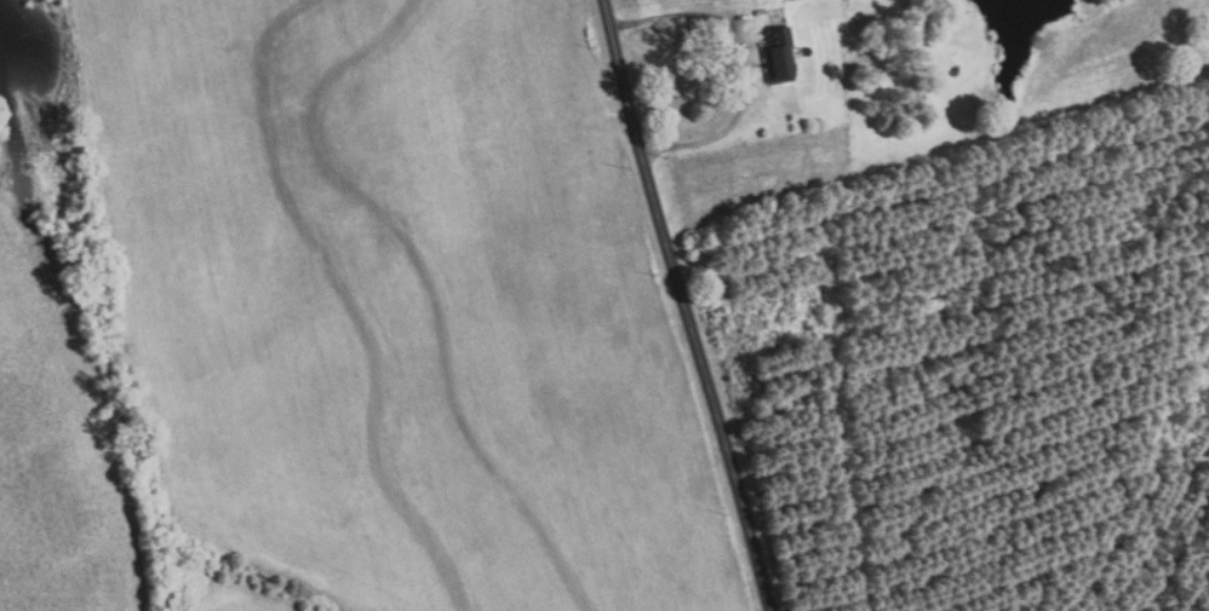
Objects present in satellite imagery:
building: (779, 56)
road: (746, 62)
river: (45, 115)
road: (686, 305)

